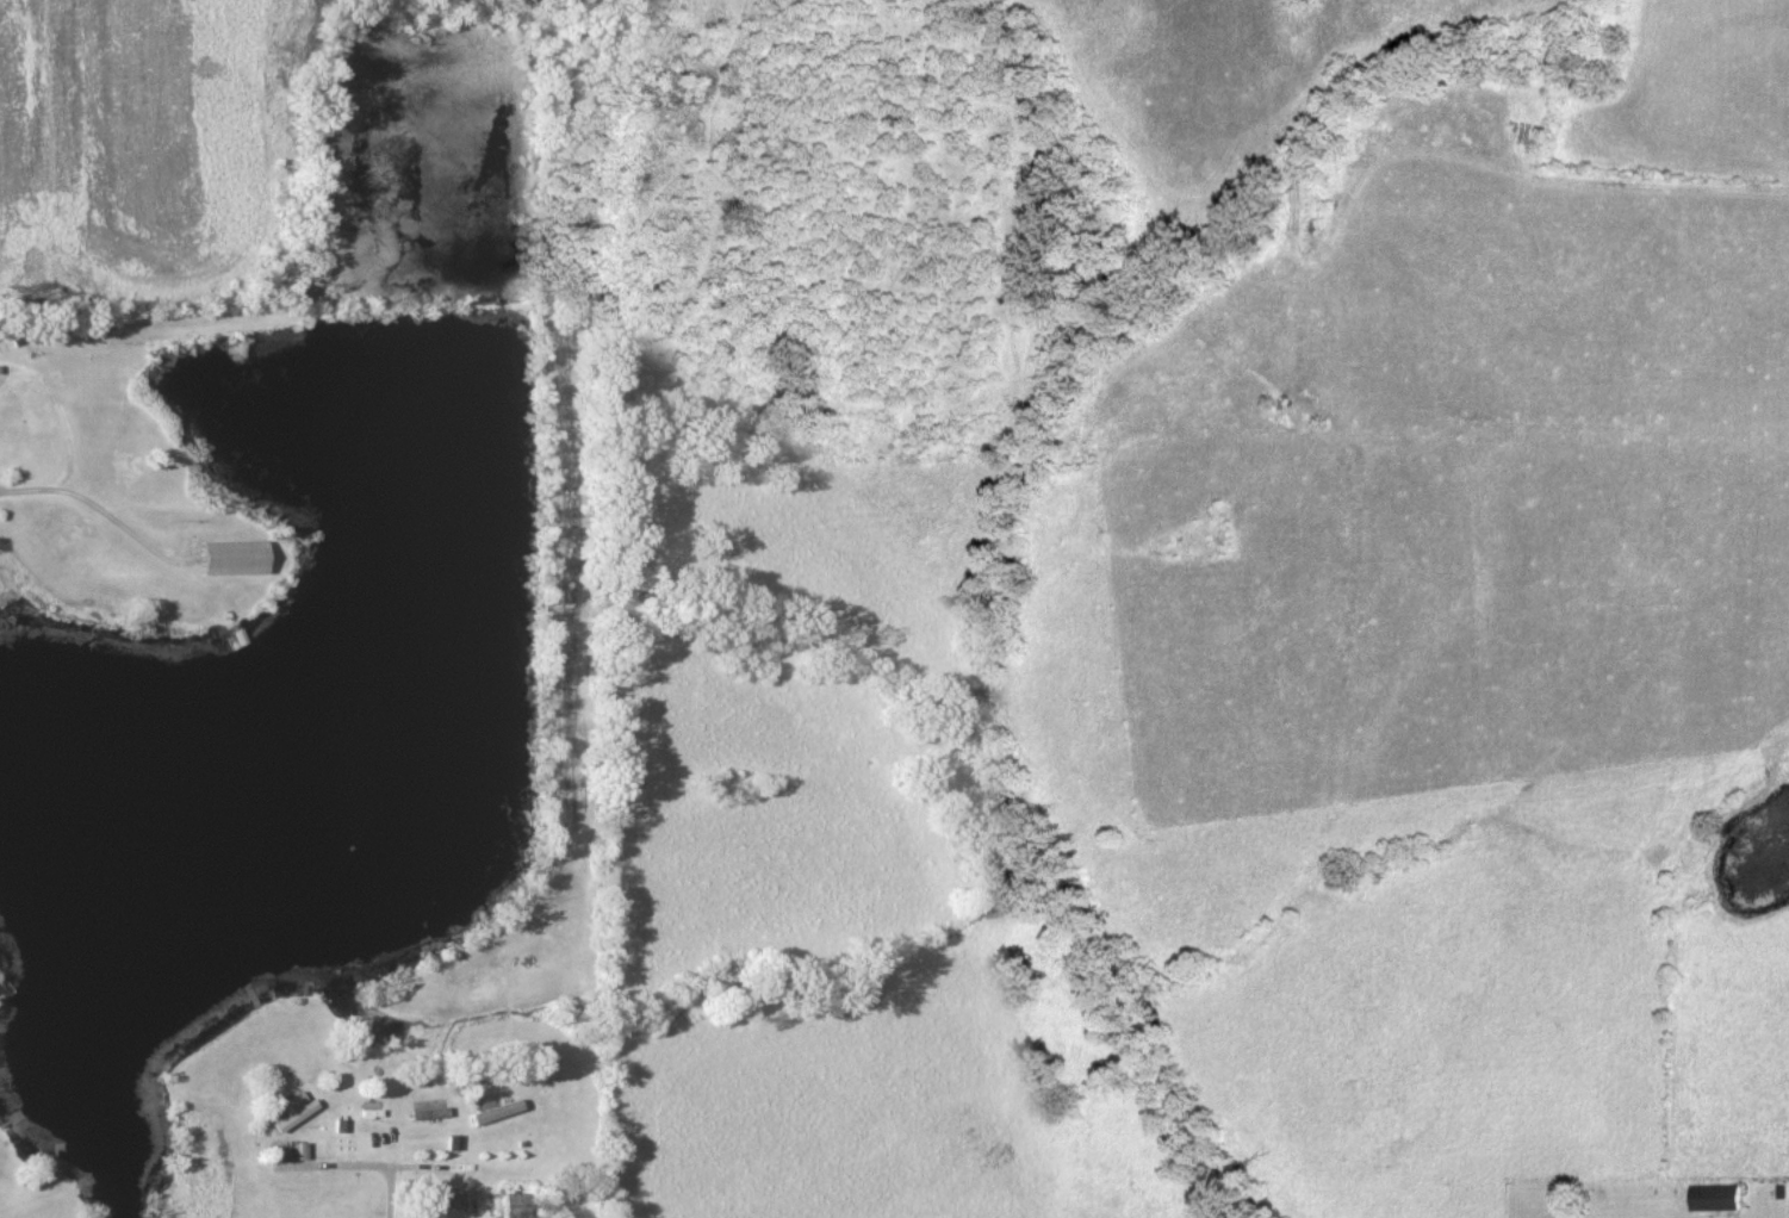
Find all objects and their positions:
building: (232, 559)
building: (293, 1112)
building: (497, 1114)
building: (430, 1116)
building: (1717, 1200)
building: (513, 1206)

